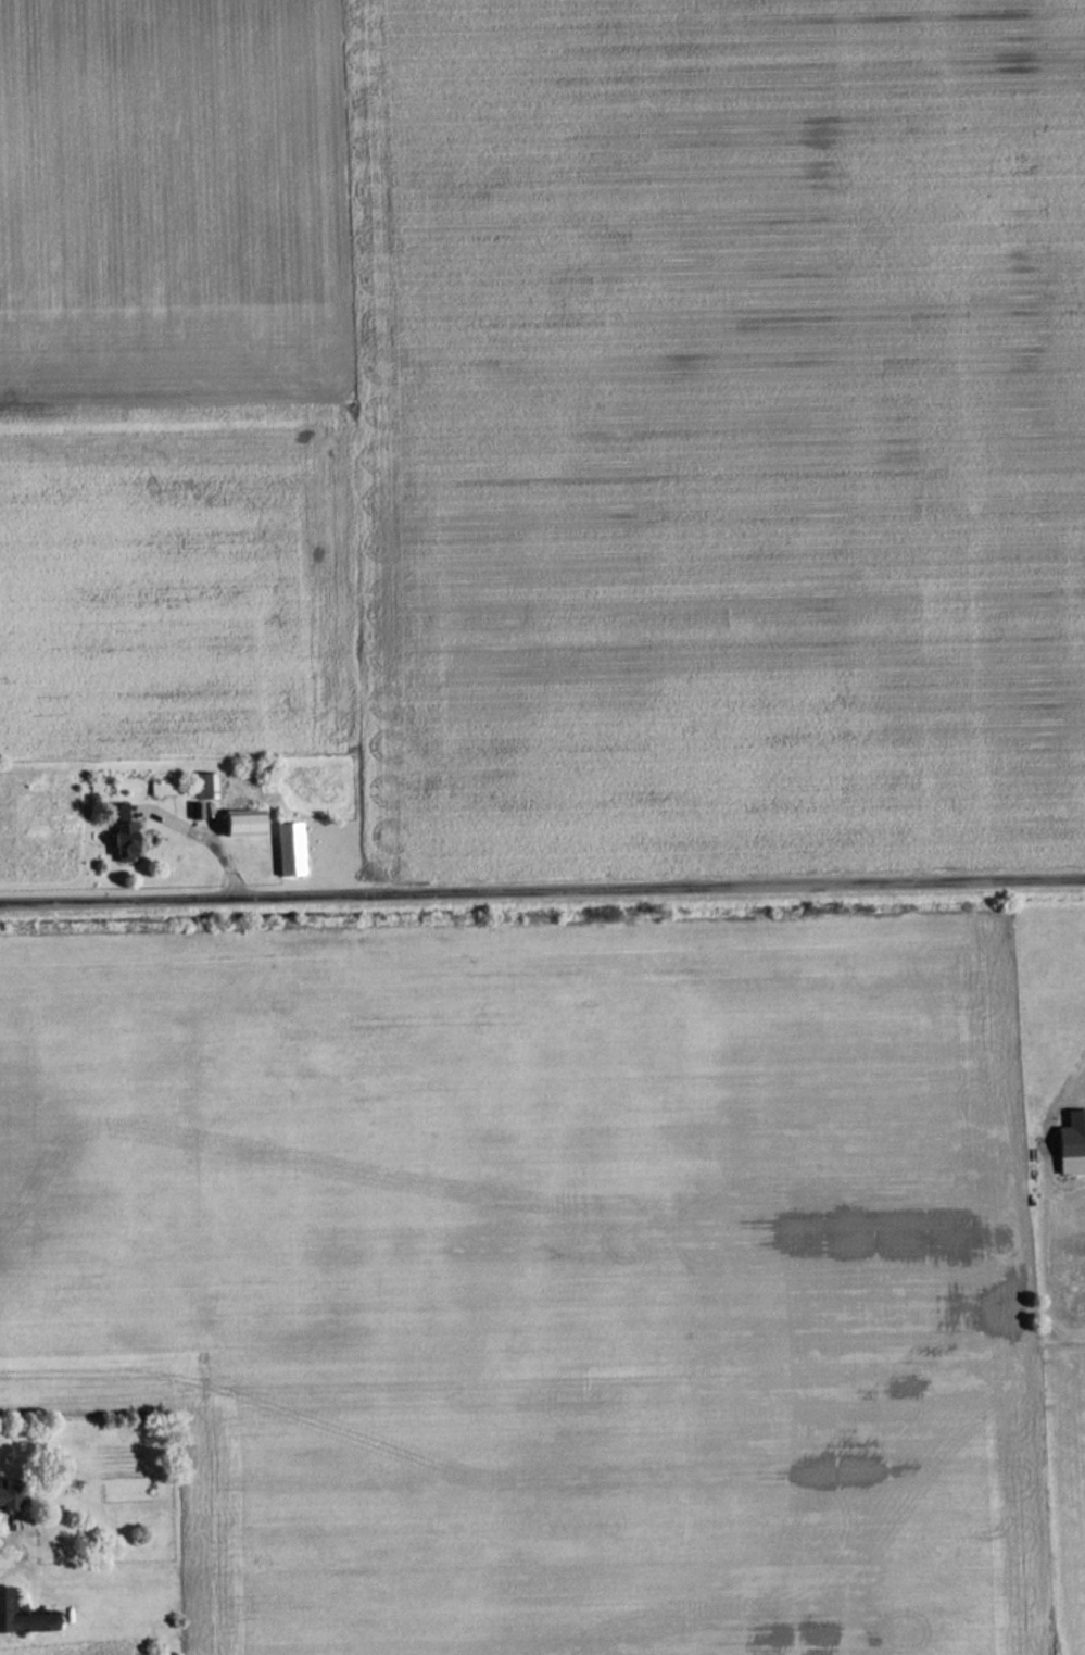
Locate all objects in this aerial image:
building: (206, 786)
building: (245, 823)
building: (126, 842)
building: (290, 849)
road: (542, 885)
building: (1071, 1144)
crop: (553, 1277)
building: (10, 1494)
crop: (1069, 1497)
building: (23, 1618)

